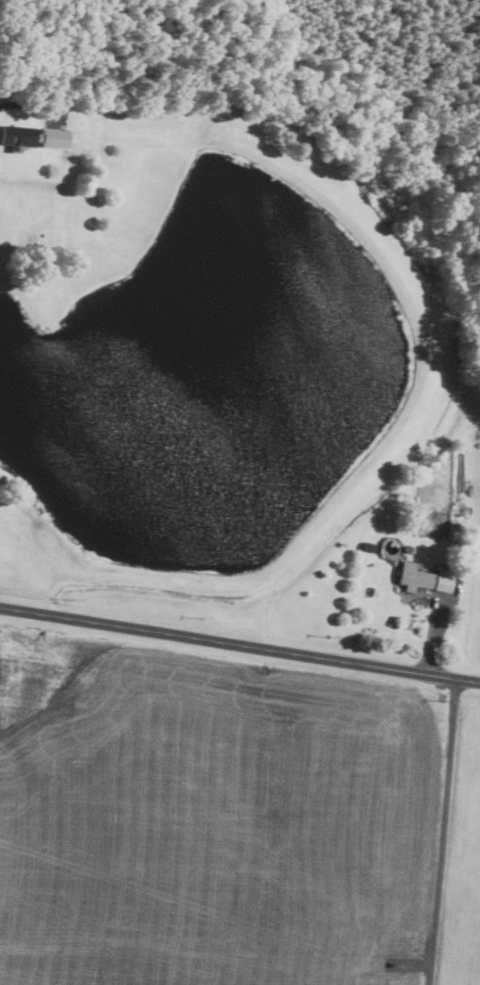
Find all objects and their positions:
road: (26, 103)
building: (36, 136)
building: (425, 578)
road: (240, 645)
road: (442, 832)

